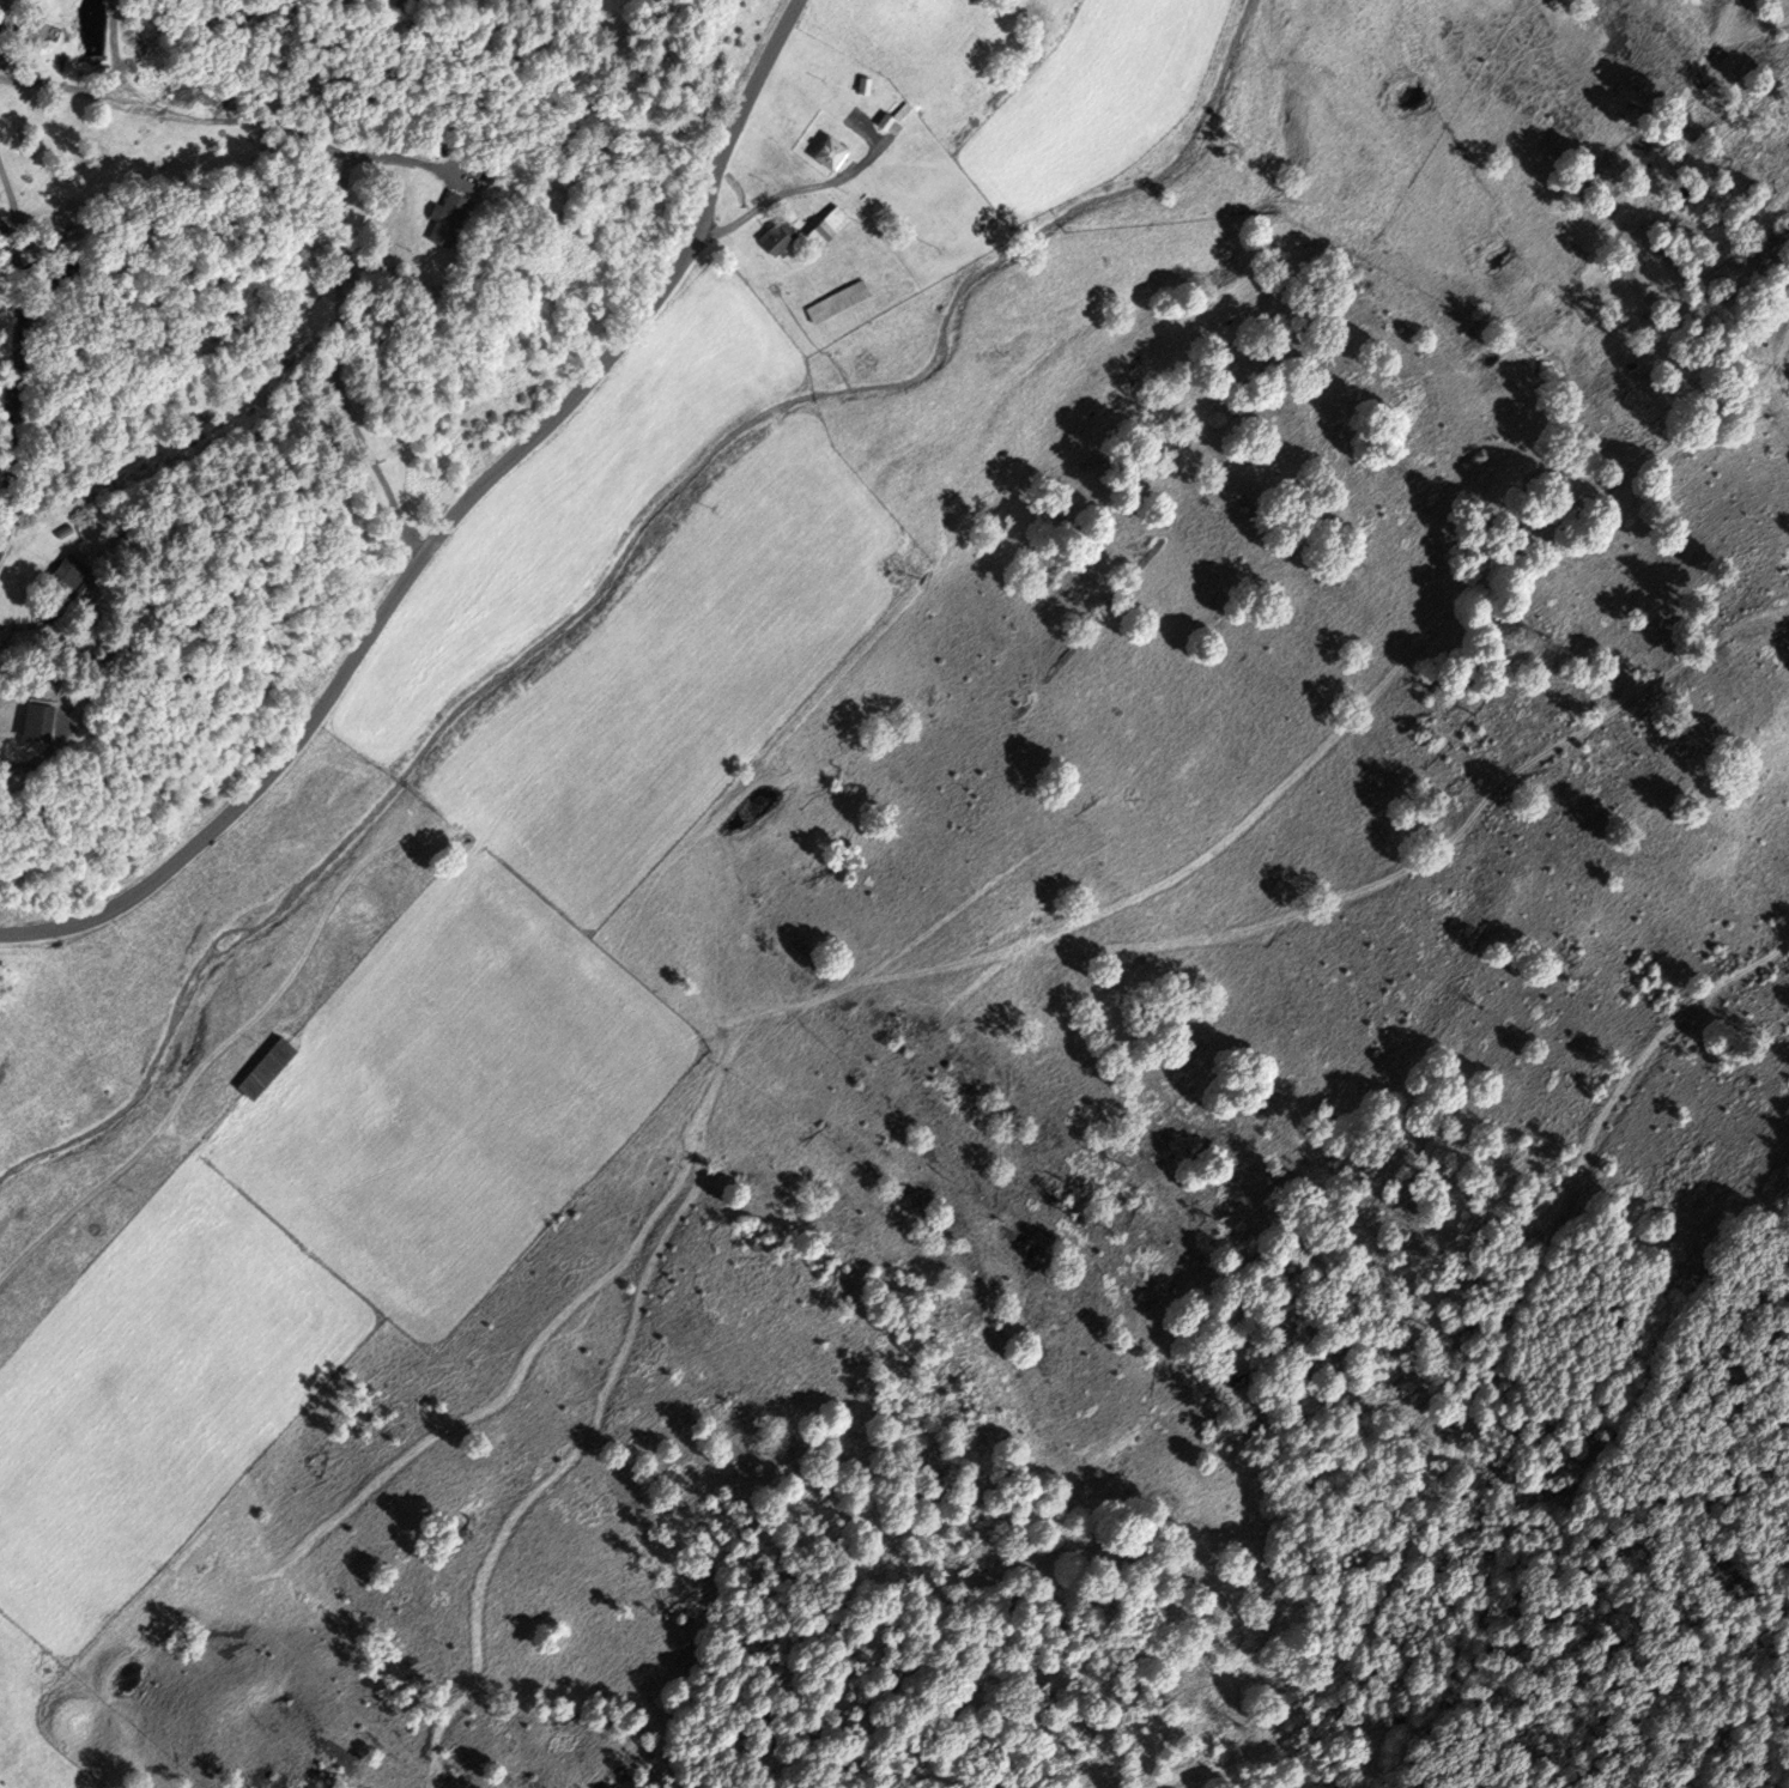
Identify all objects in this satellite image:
road: (115, 51)
building: (860, 85)
building: (879, 120)
building: (826, 152)
road: (345, 188)
building: (456, 218)
building: (824, 226)
building: (772, 236)
building: (835, 302)
road: (18, 388)
road: (448, 516)
building: (66, 576)
road: (35, 625)
building: (29, 723)
building: (261, 1069)
road: (157, 1131)

